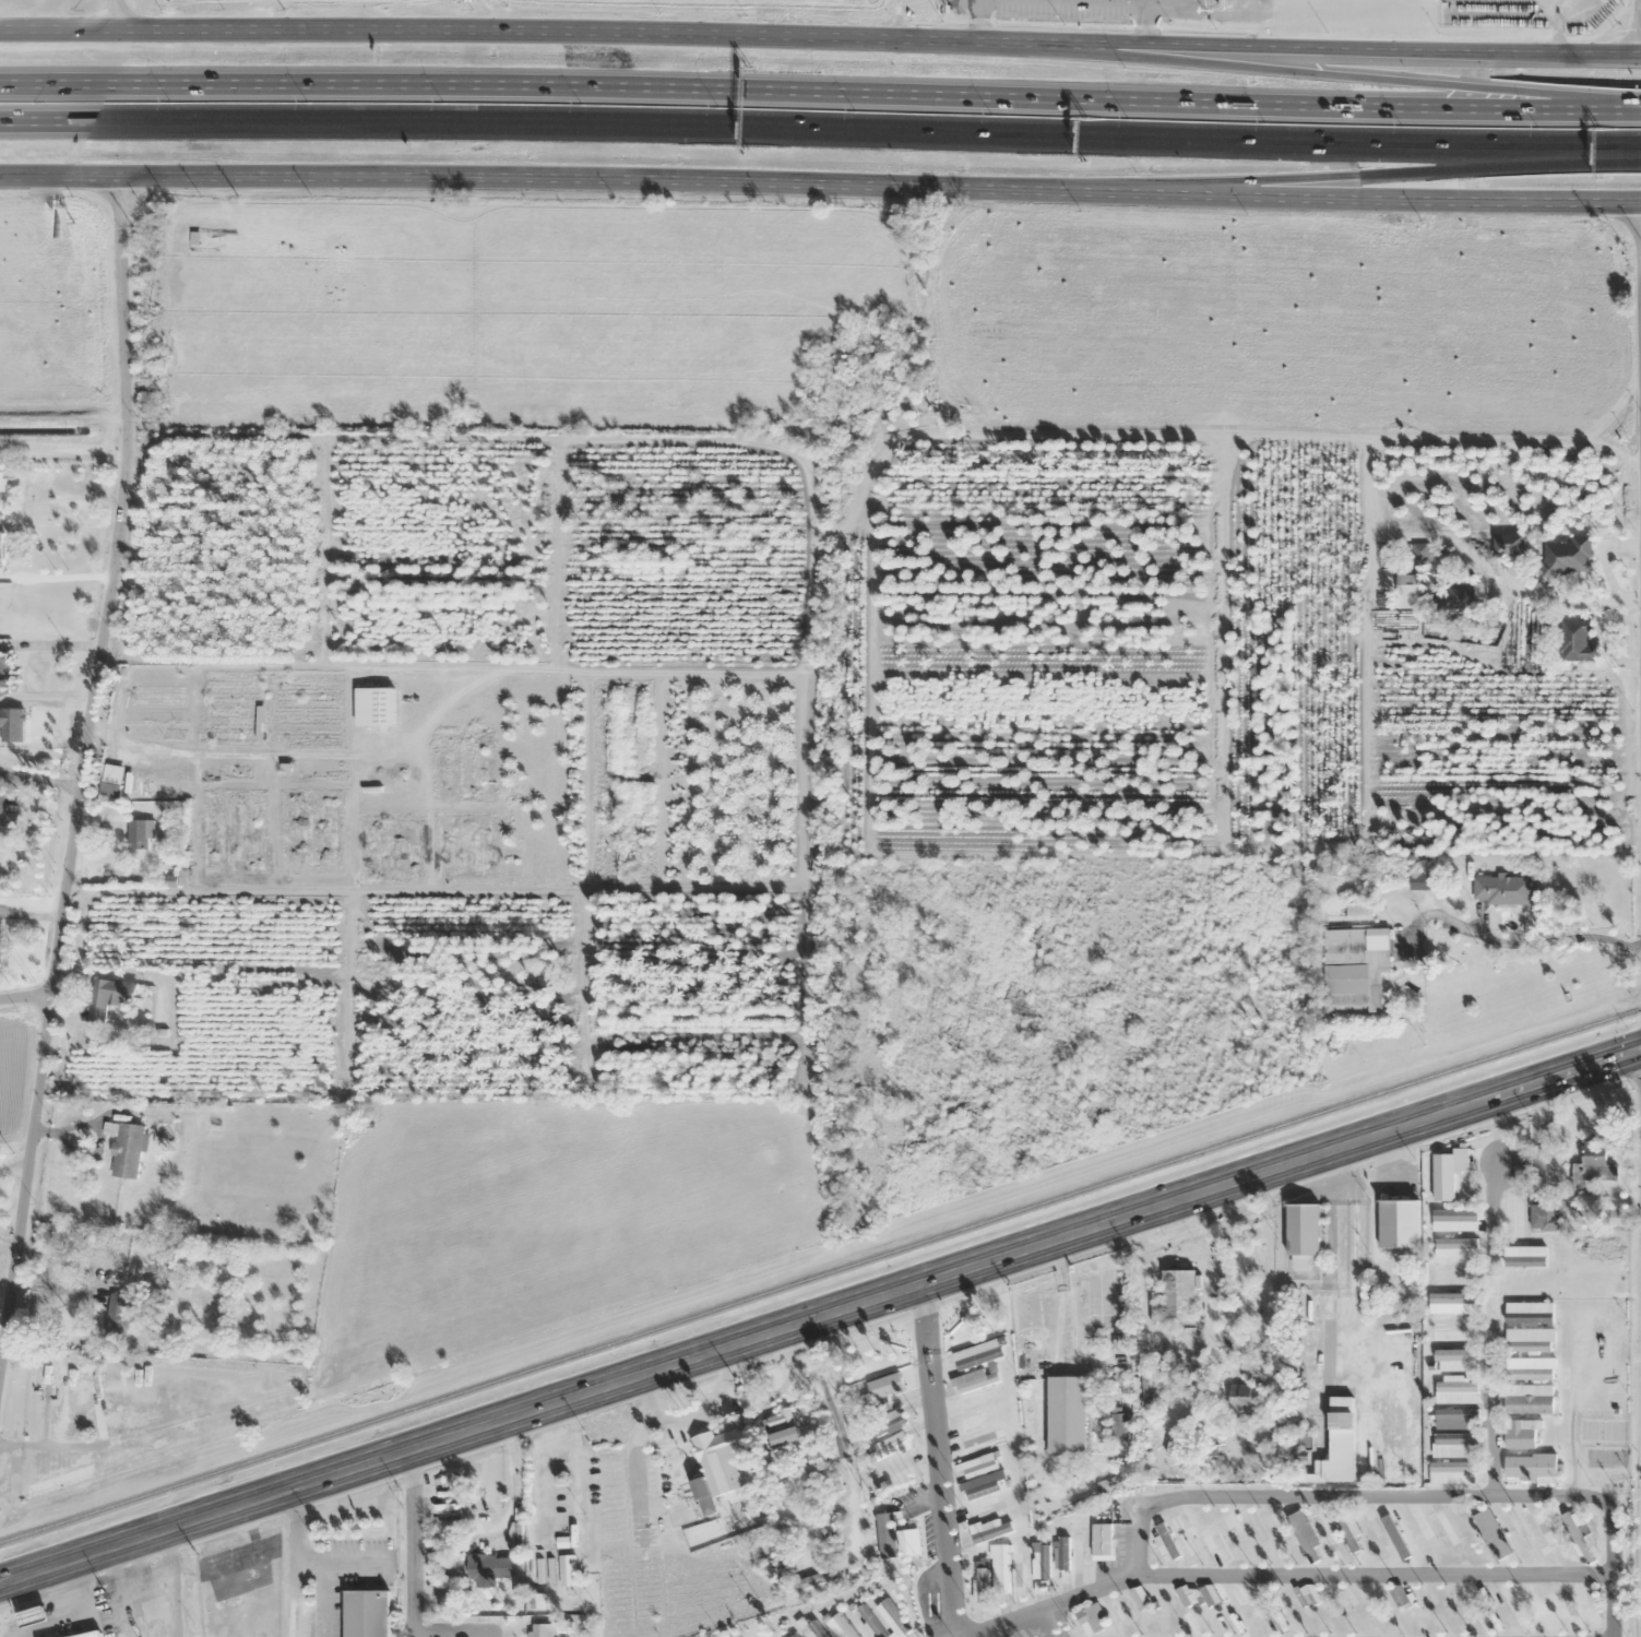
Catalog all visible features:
road: (1639, 8)
road: (112, 14)
road: (895, 20)
road: (820, 38)
road: (1296, 78)
road: (774, 87)
street lamp: (32, 100)
street lamp: (305, 100)
street lamp: (168, 102)
street lamp: (442, 102)
street lamp: (580, 103)
street lamp: (716, 106)
street lamp: (853, 110)
road: (1594, 111)
street lamp: (990, 114)
street lamp: (1127, 118)
street lamp: (1262, 122)
street lamp: (1400, 124)
street lamp: (1536, 127)
road: (809, 130)
road: (1629, 152)
road: (1352, 171)
road: (820, 182)
road: (1640, 266)
building: (1, 478)
building: (1507, 542)
building: (0, 546)
building: (1416, 554)
building: (1567, 557)
building: (1408, 591)
building: (1456, 598)
building: (1575, 642)
building: (3, 673)
building: (230, 686)
building: (373, 707)
building: (156, 708)
building: (229, 709)
building: (305, 720)
building: (228, 732)
road: (82, 757)
building: (464, 769)
building: (236, 771)
building: (309, 778)
building: (111, 782)
building: (162, 790)
building: (7, 818)
building: (310, 831)
building: (234, 832)
building: (139, 833)
building: (391, 849)
building: (465, 849)
building: (1502, 889)
building: (0, 942)
building: (1354, 968)
road: (23, 996)
building: (107, 997)
building: (124, 1149)
building: (1594, 1164)
building: (1511, 1213)
building: (1543, 1217)
building: (1454, 1220)
building: (1398, 1223)
building: (1303, 1229)
building: (1454, 1248)
building: (1525, 1255)
railway: (821, 1274)
building: (1177, 1293)
building: (1452, 1303)
building: (118, 1312)
building: (1527, 1312)
road: (820, 1313)
building: (1453, 1330)
road: (1495, 1334)
building: (1529, 1339)
building: (978, 1353)
building: (1455, 1360)
building: (1530, 1367)
building: (975, 1379)
building: (1145, 1383)
building: (884, 1389)
building: (1456, 1389)
building: (1244, 1397)
building: (1067, 1413)
building: (1456, 1417)
building: (778, 1419)
building: (1119, 1421)
building: (973, 1423)
building: (887, 1424)
building: (1521, 1433)
building: (785, 1436)
building: (982, 1443)
building: (1336, 1445)
building: (1455, 1445)
building: (890, 1446)
building: (721, 1455)
road: (931, 1459)
building: (812, 1461)
building: (977, 1466)
building: (1530, 1466)
building: (896, 1470)
building: (1453, 1472)
building: (1110, 1484)
building: (983, 1485)
road: (1232, 1500)
building: (690, 1505)
building: (1227, 1525)
building: (1322, 1527)
building: (1536, 1527)
building: (1251, 1528)
building: (1275, 1528)
building: (1441, 1528)
building: (988, 1530)
building: (1371, 1532)
building: (1303, 1533)
building: (1491, 1533)
building: (885, 1534)
building: (1398, 1534)
building: (1211, 1539)
building: (1102, 1541)
building: (907, 1542)
building: (1164, 1542)
building: (1062, 1553)
building: (1080, 1553)
building: (1041, 1561)
road: (1612, 1561)
building: (1023, 1563)
building: (1000, 1566)
building: (489, 1567)
building: (567, 1574)
road: (1376, 1577)
road: (412, 1578)
building: (980, 1580)
building: (1240, 1592)
building: (1198, 1594)
building: (1307, 1594)
building: (1139, 1598)
building: (1400, 1598)
building: (151, 1609)
building: (365, 1613)
building: (893, 1617)
building: (1090, 1618)
building: (868, 1621)
road: (1058, 1621)
building: (1273, 1625)
building: (840, 1626)
building: (809, 1628)
building: (538, 1634)
building: (90, 1635)
building: (768, 1636)
building: (790, 1636)

